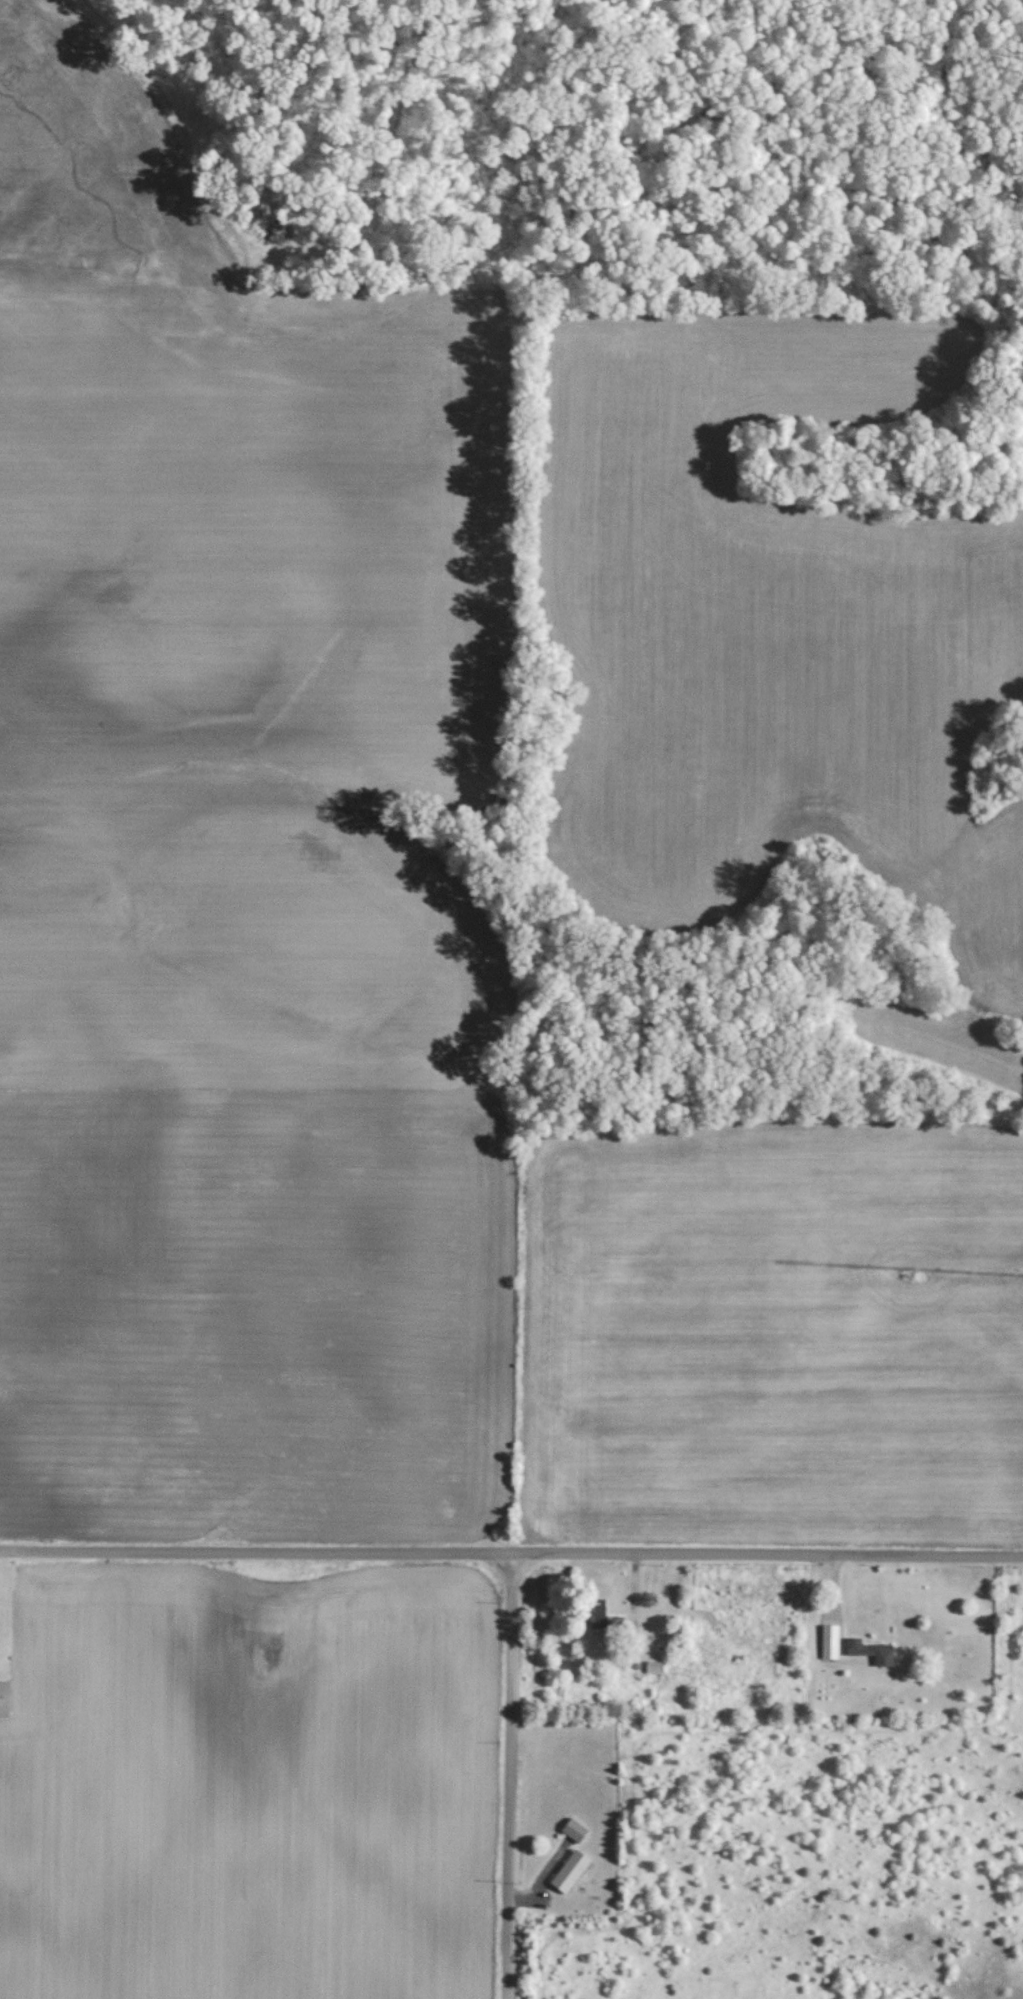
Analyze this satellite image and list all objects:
road: (511, 1552)
road: (635, 1584)
road: (835, 1589)
building: (594, 1617)
building: (830, 1648)
building: (868, 1648)
building: (652, 1666)
building: (3, 1697)
road: (506, 1775)
building: (573, 1829)
building: (570, 1871)
road: (539, 1877)

